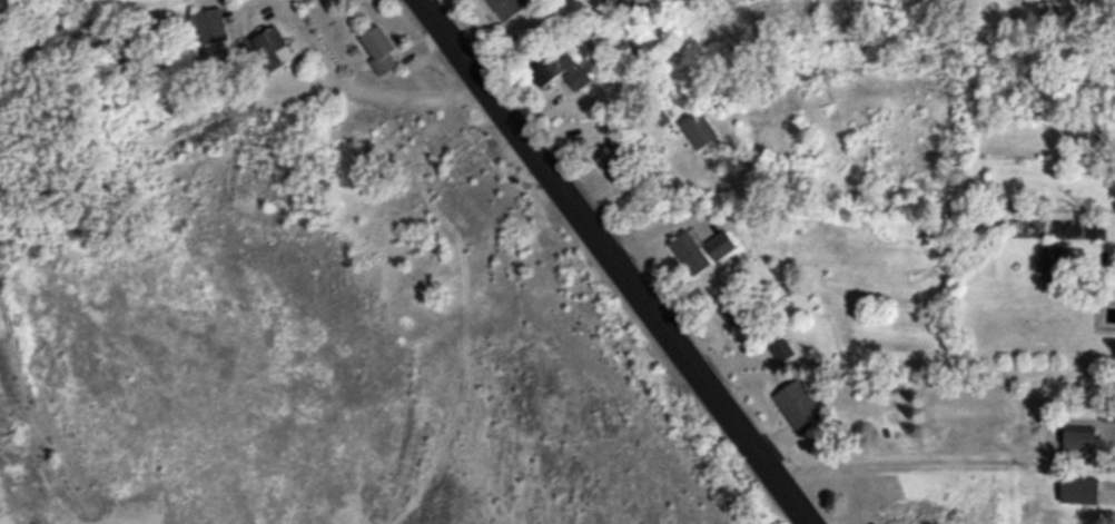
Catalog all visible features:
building: (505, 9)
building: (210, 28)
building: (276, 50)
building: (382, 50)
building: (566, 75)
road: (325, 82)
building: (701, 130)
building: (618, 148)
building: (722, 246)
building: (692, 254)
road: (624, 261)
building: (741, 320)
building: (782, 348)
building: (800, 407)
building: (1083, 437)
road: (946, 454)
building: (1082, 490)

